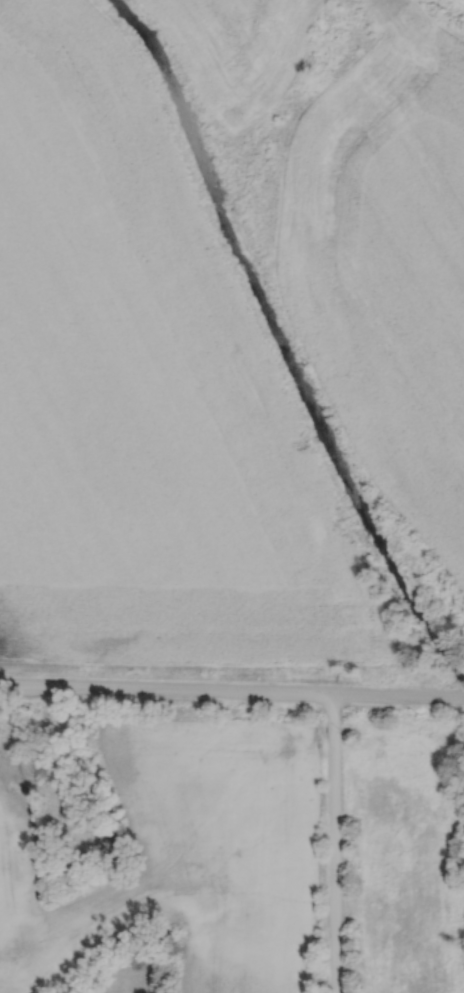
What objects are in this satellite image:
road: (231, 694)
road: (332, 845)

